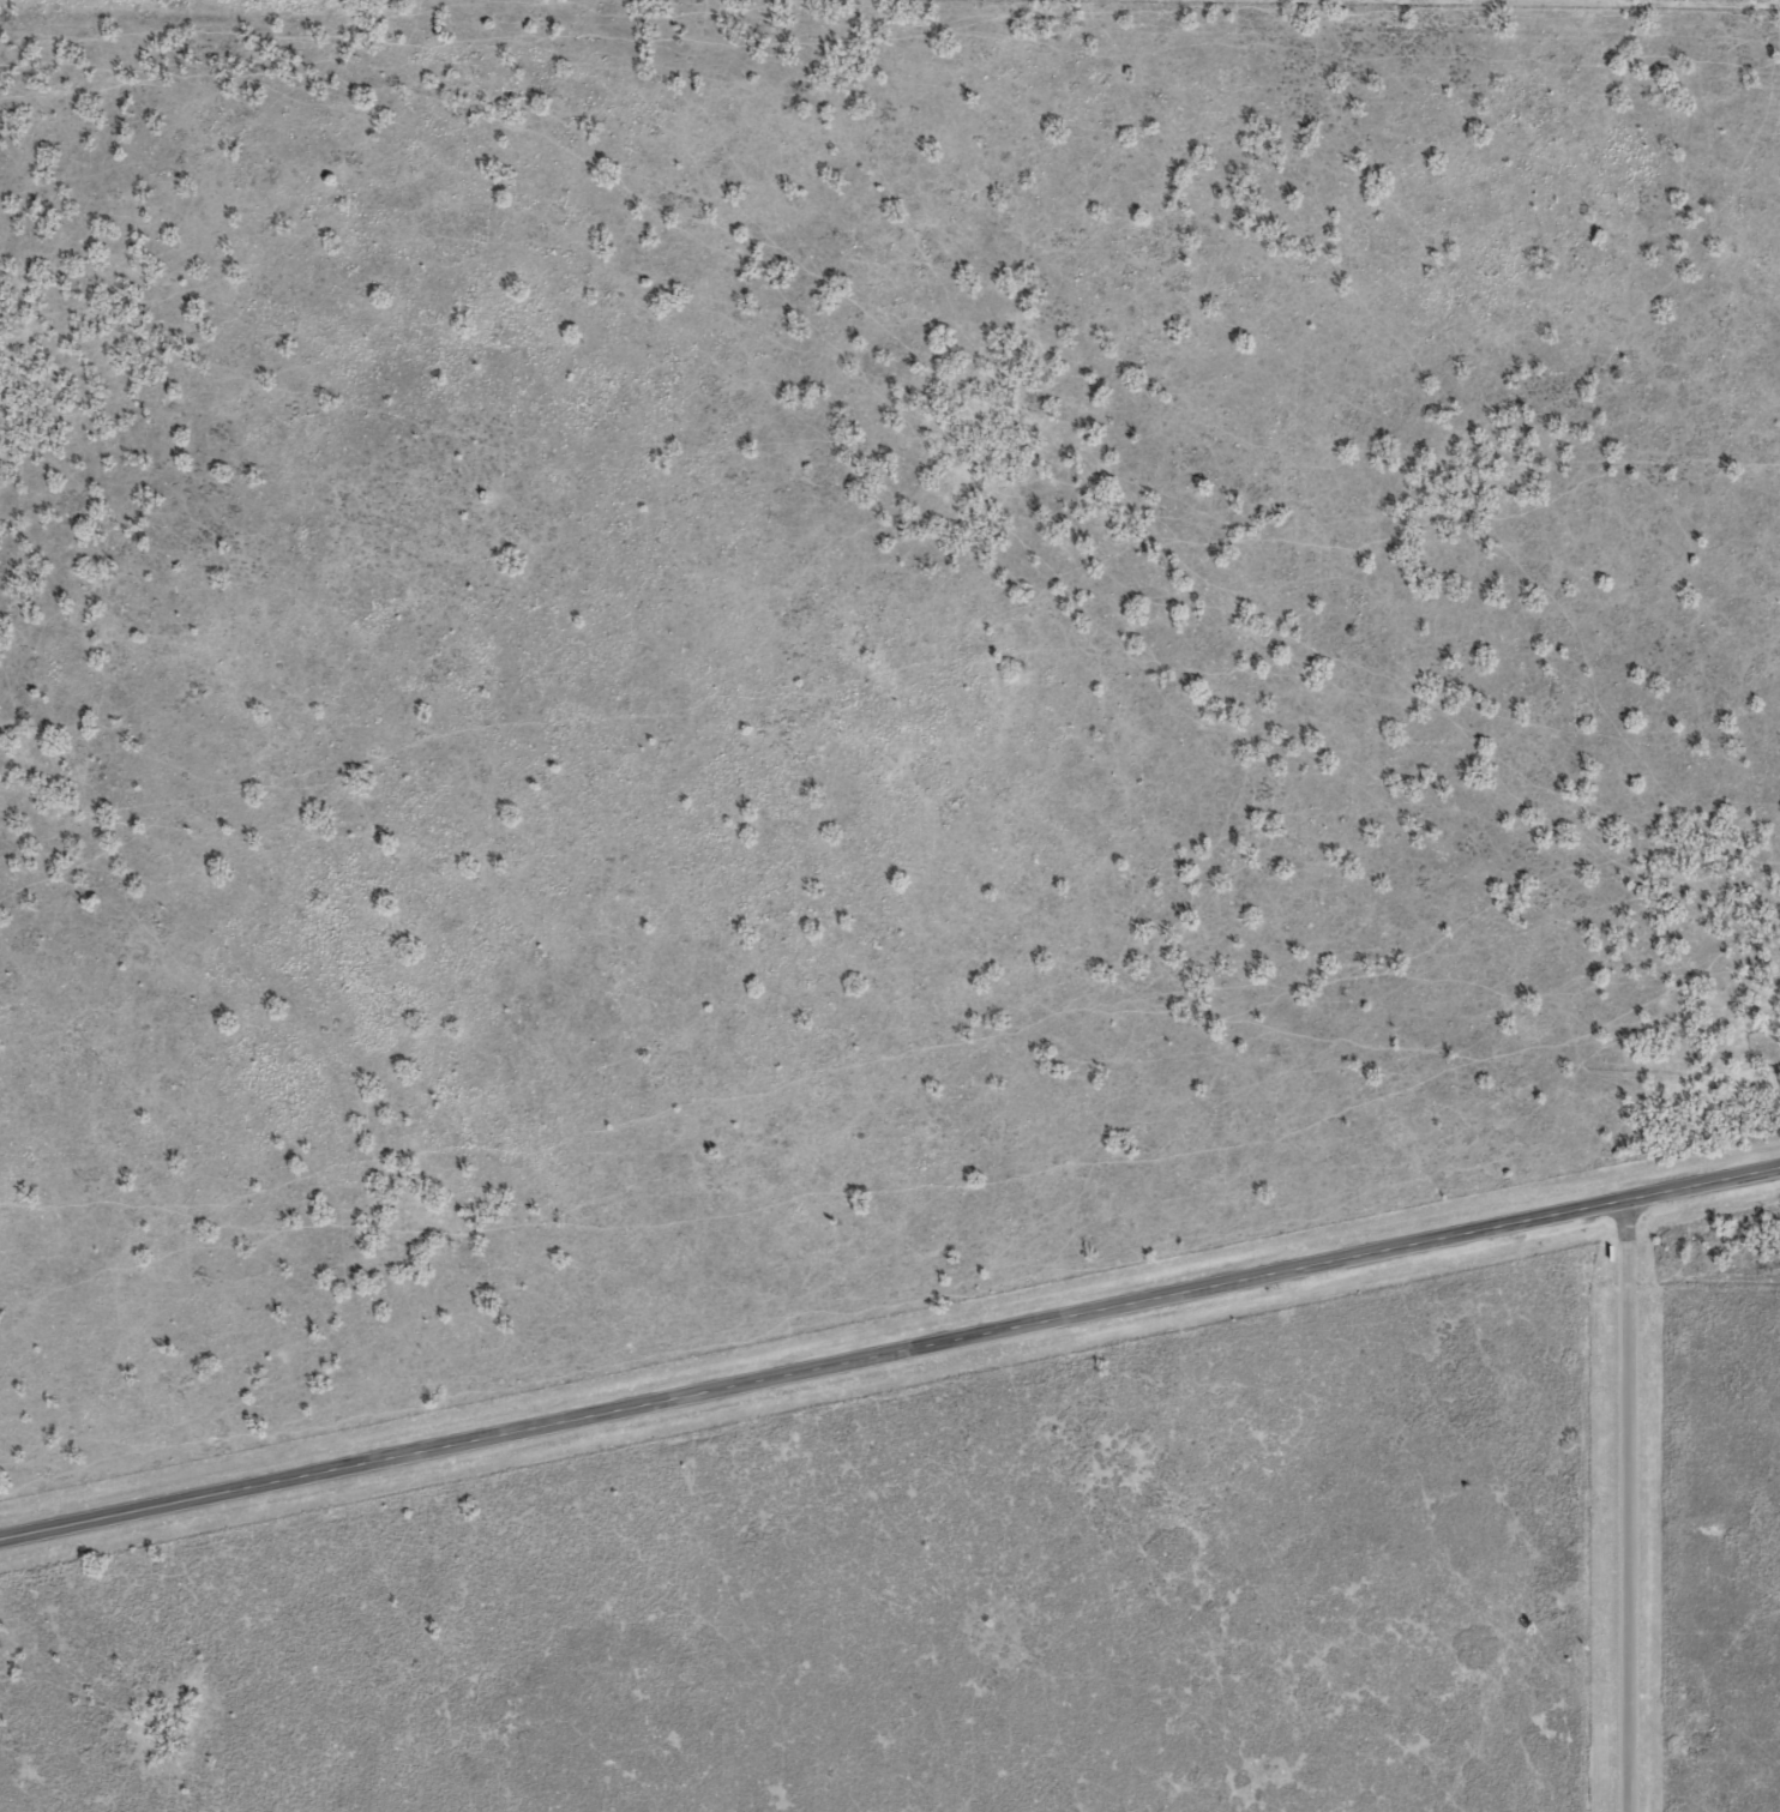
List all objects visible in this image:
road: (890, 1361)
road: (1623, 1512)
airport: (1689, 1547)

